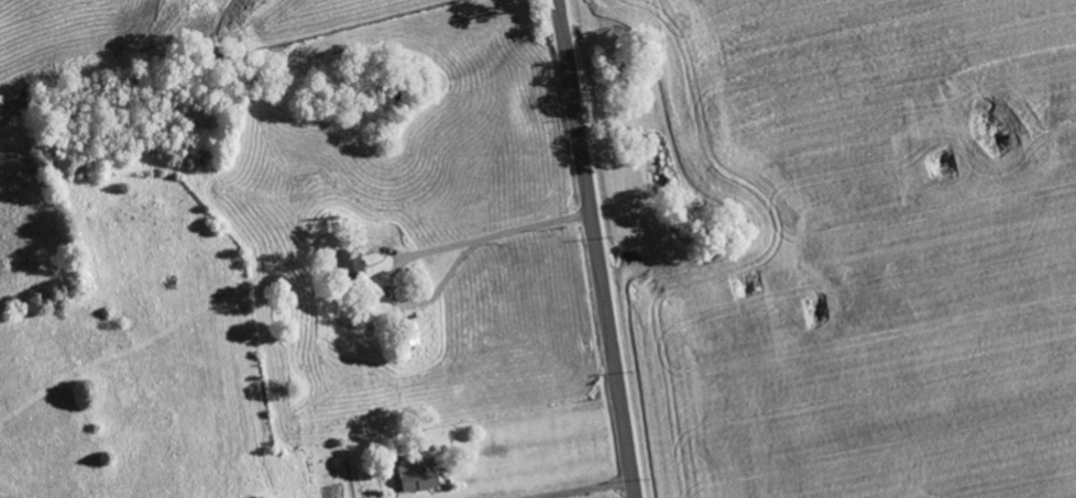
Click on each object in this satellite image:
road: (596, 248)
building: (353, 262)
building: (421, 476)

